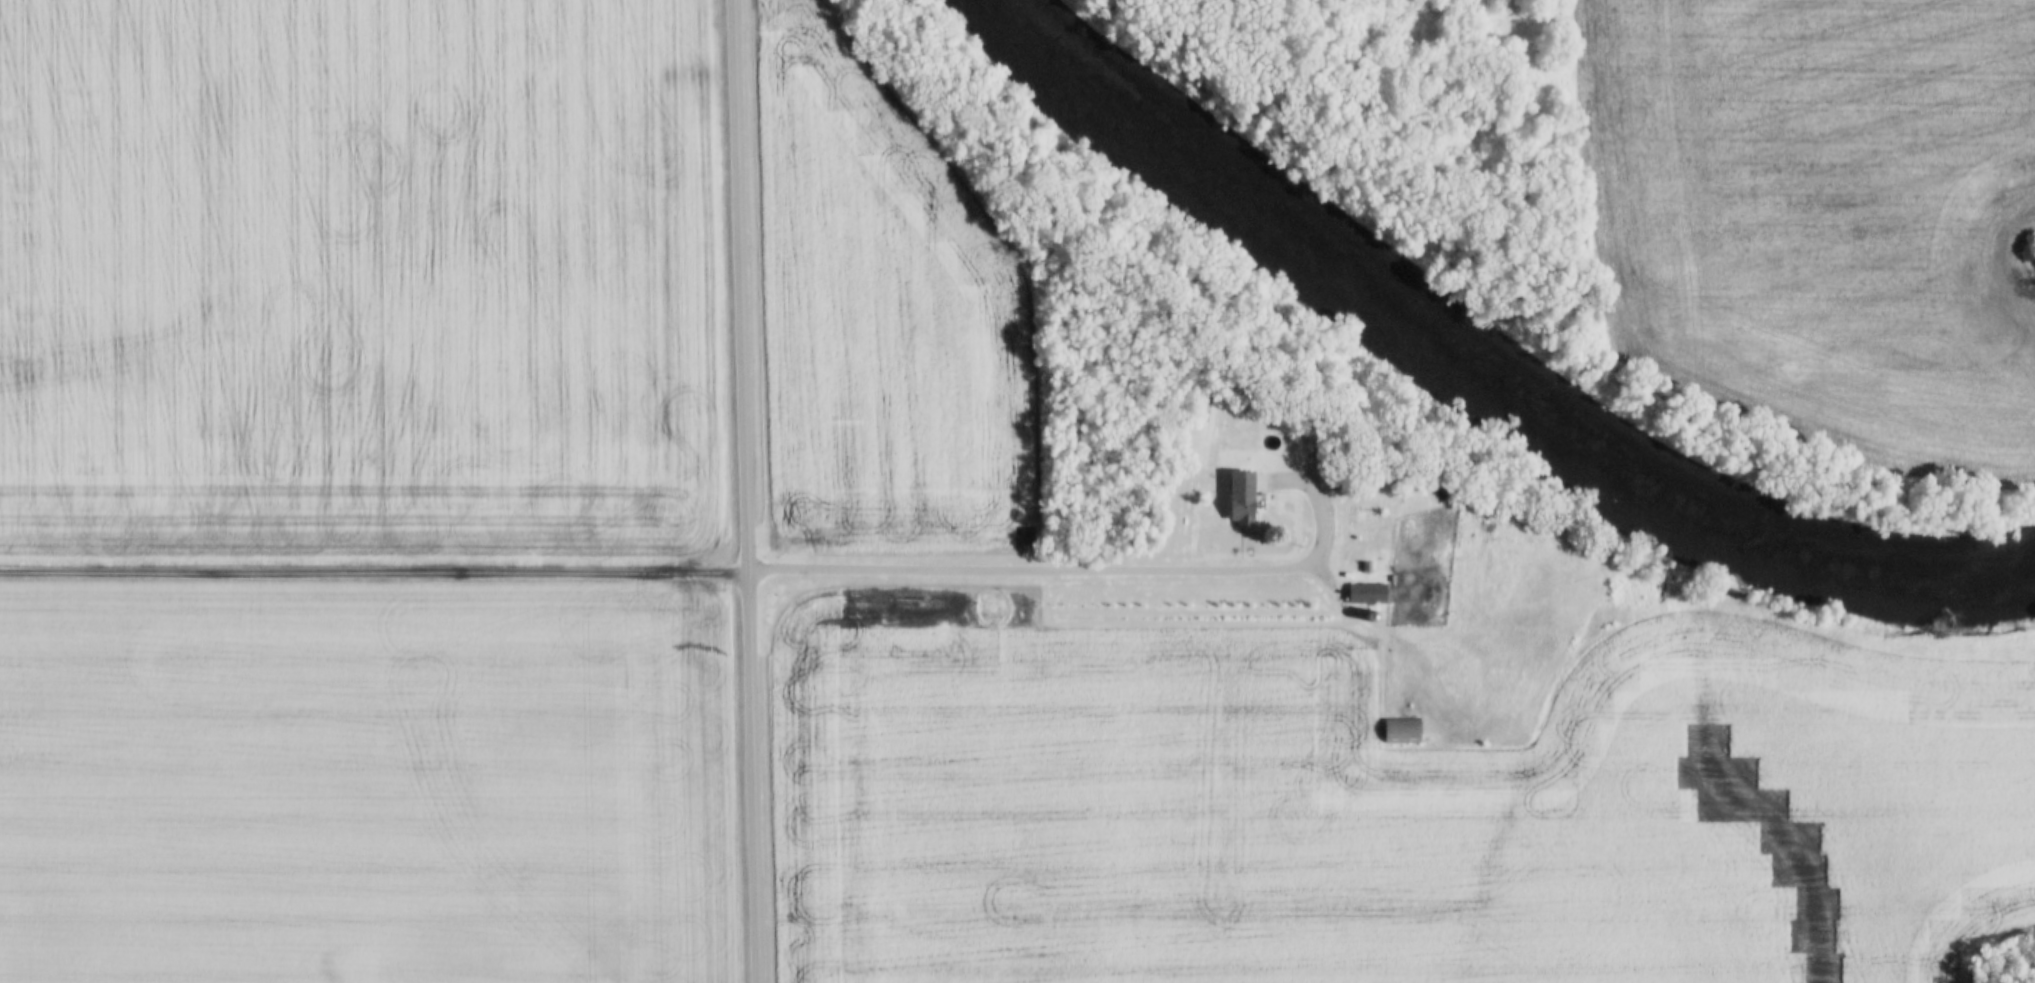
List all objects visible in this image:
river: (1475, 374)
road: (747, 491)
building: (1238, 508)
road: (375, 574)
road: (1079, 576)
building: (1364, 593)
building: (1399, 731)

